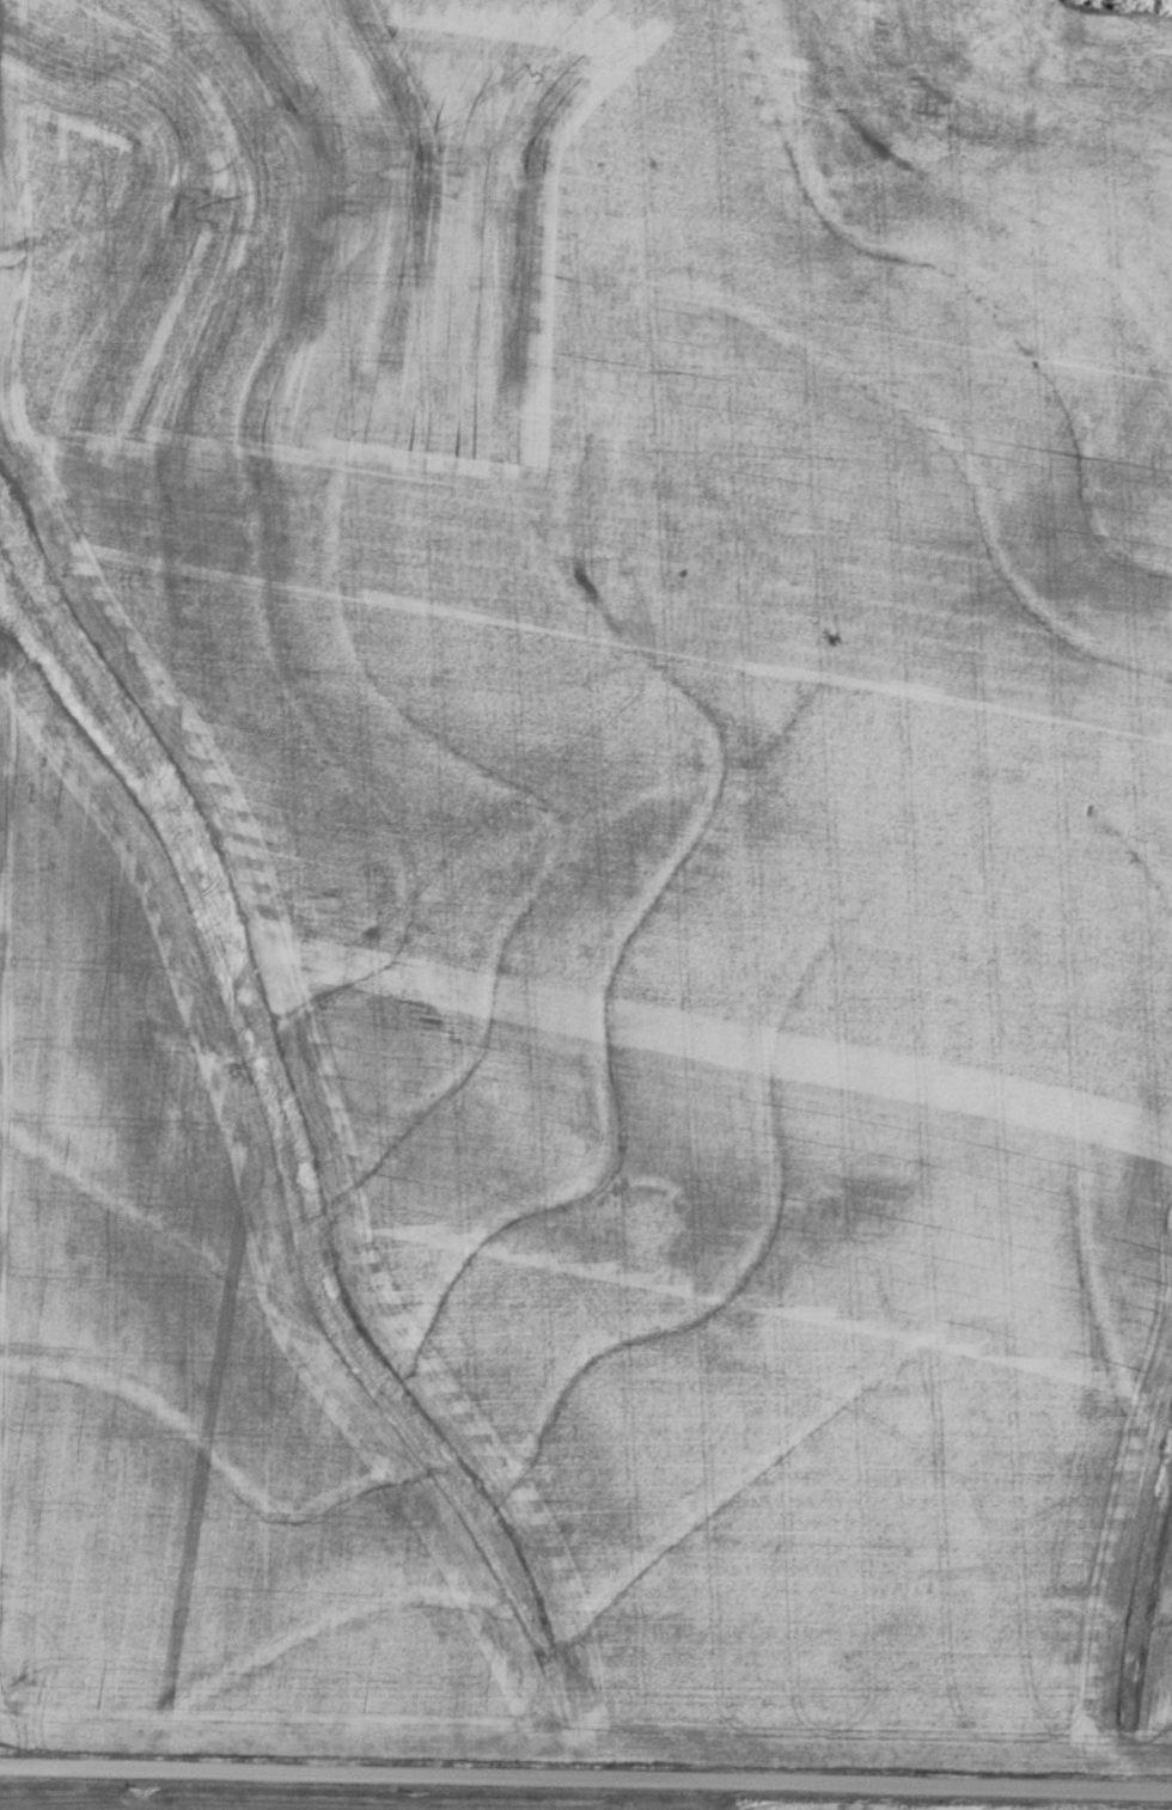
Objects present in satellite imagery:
road: (585, 1778)

